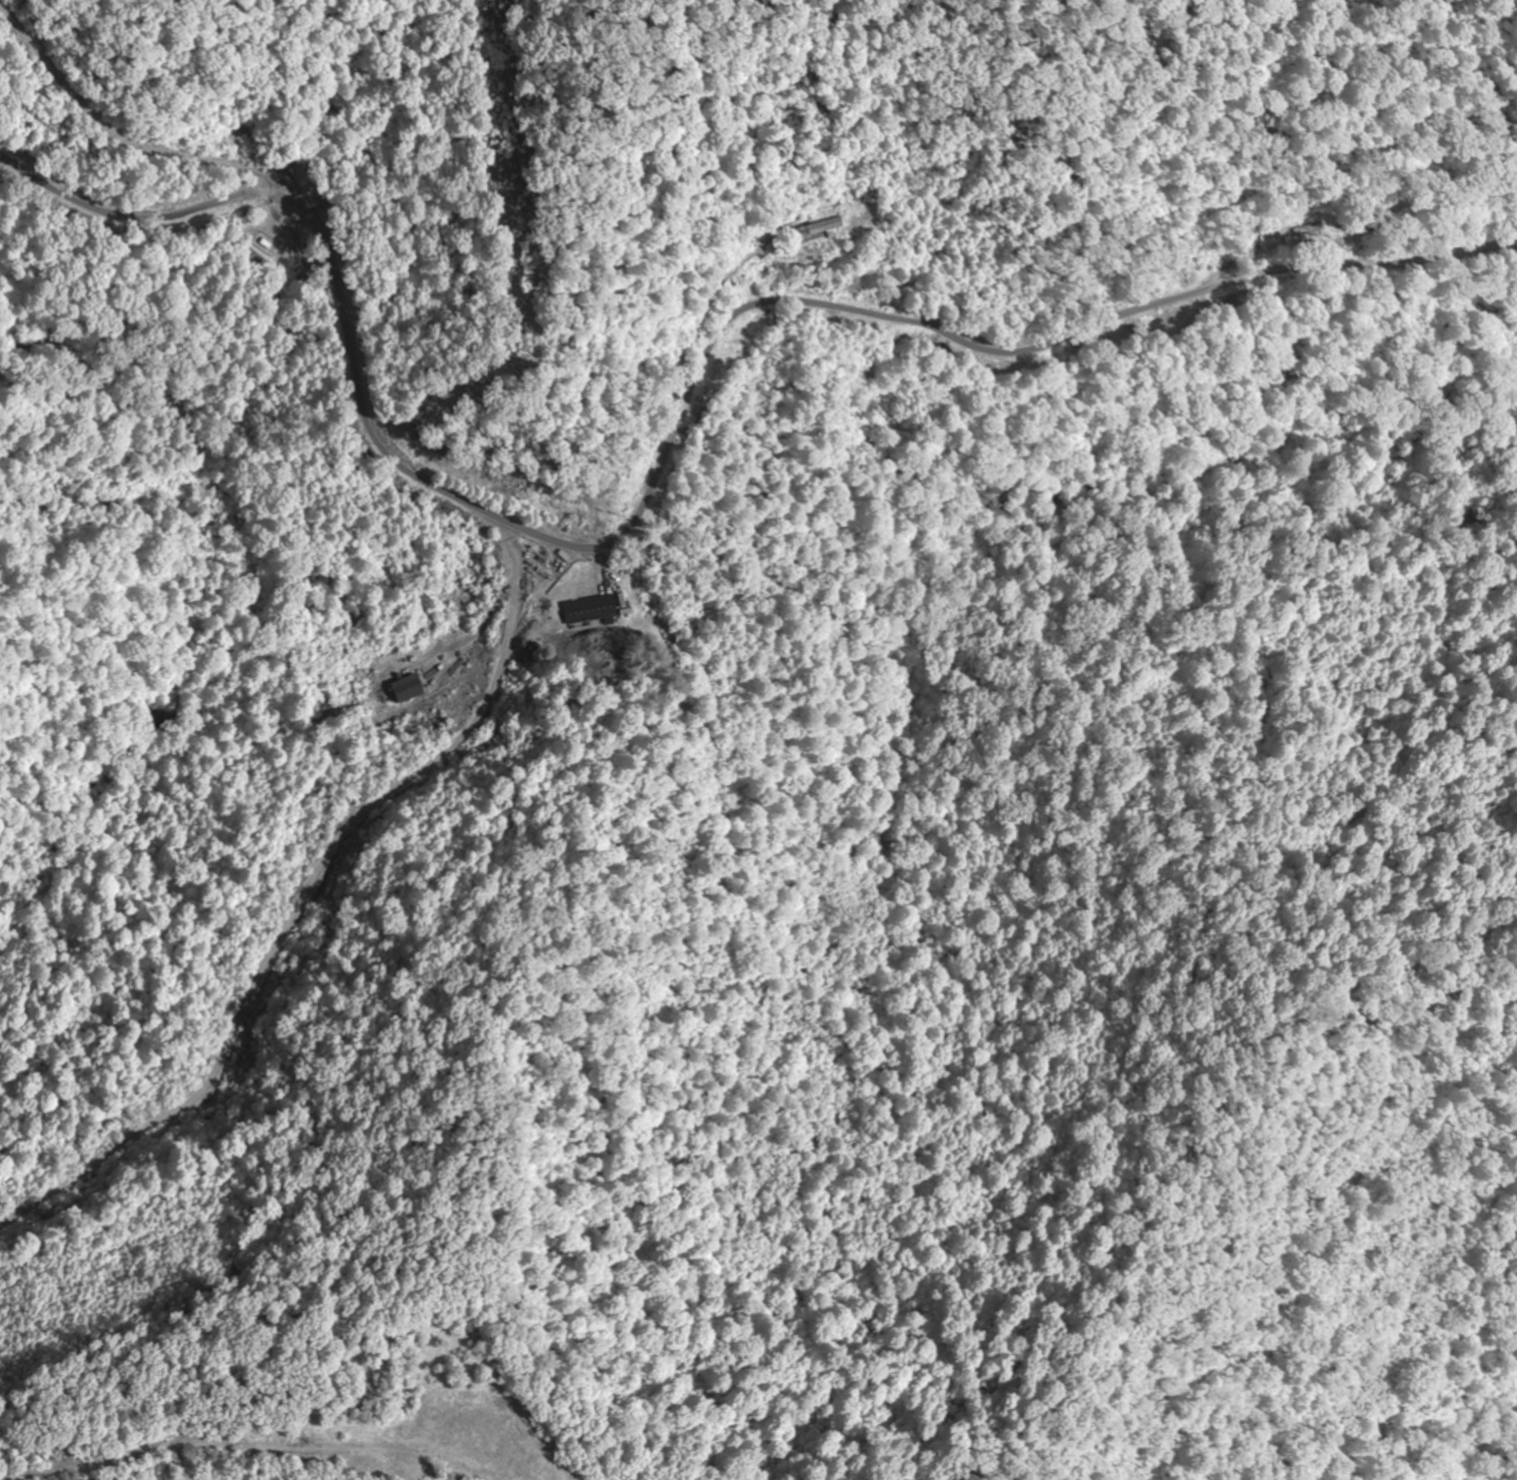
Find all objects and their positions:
building: (820, 229)
building: (1306, 234)
road: (1374, 276)
road: (584, 547)
building: (590, 610)
building: (409, 689)
road: (64, 1458)

